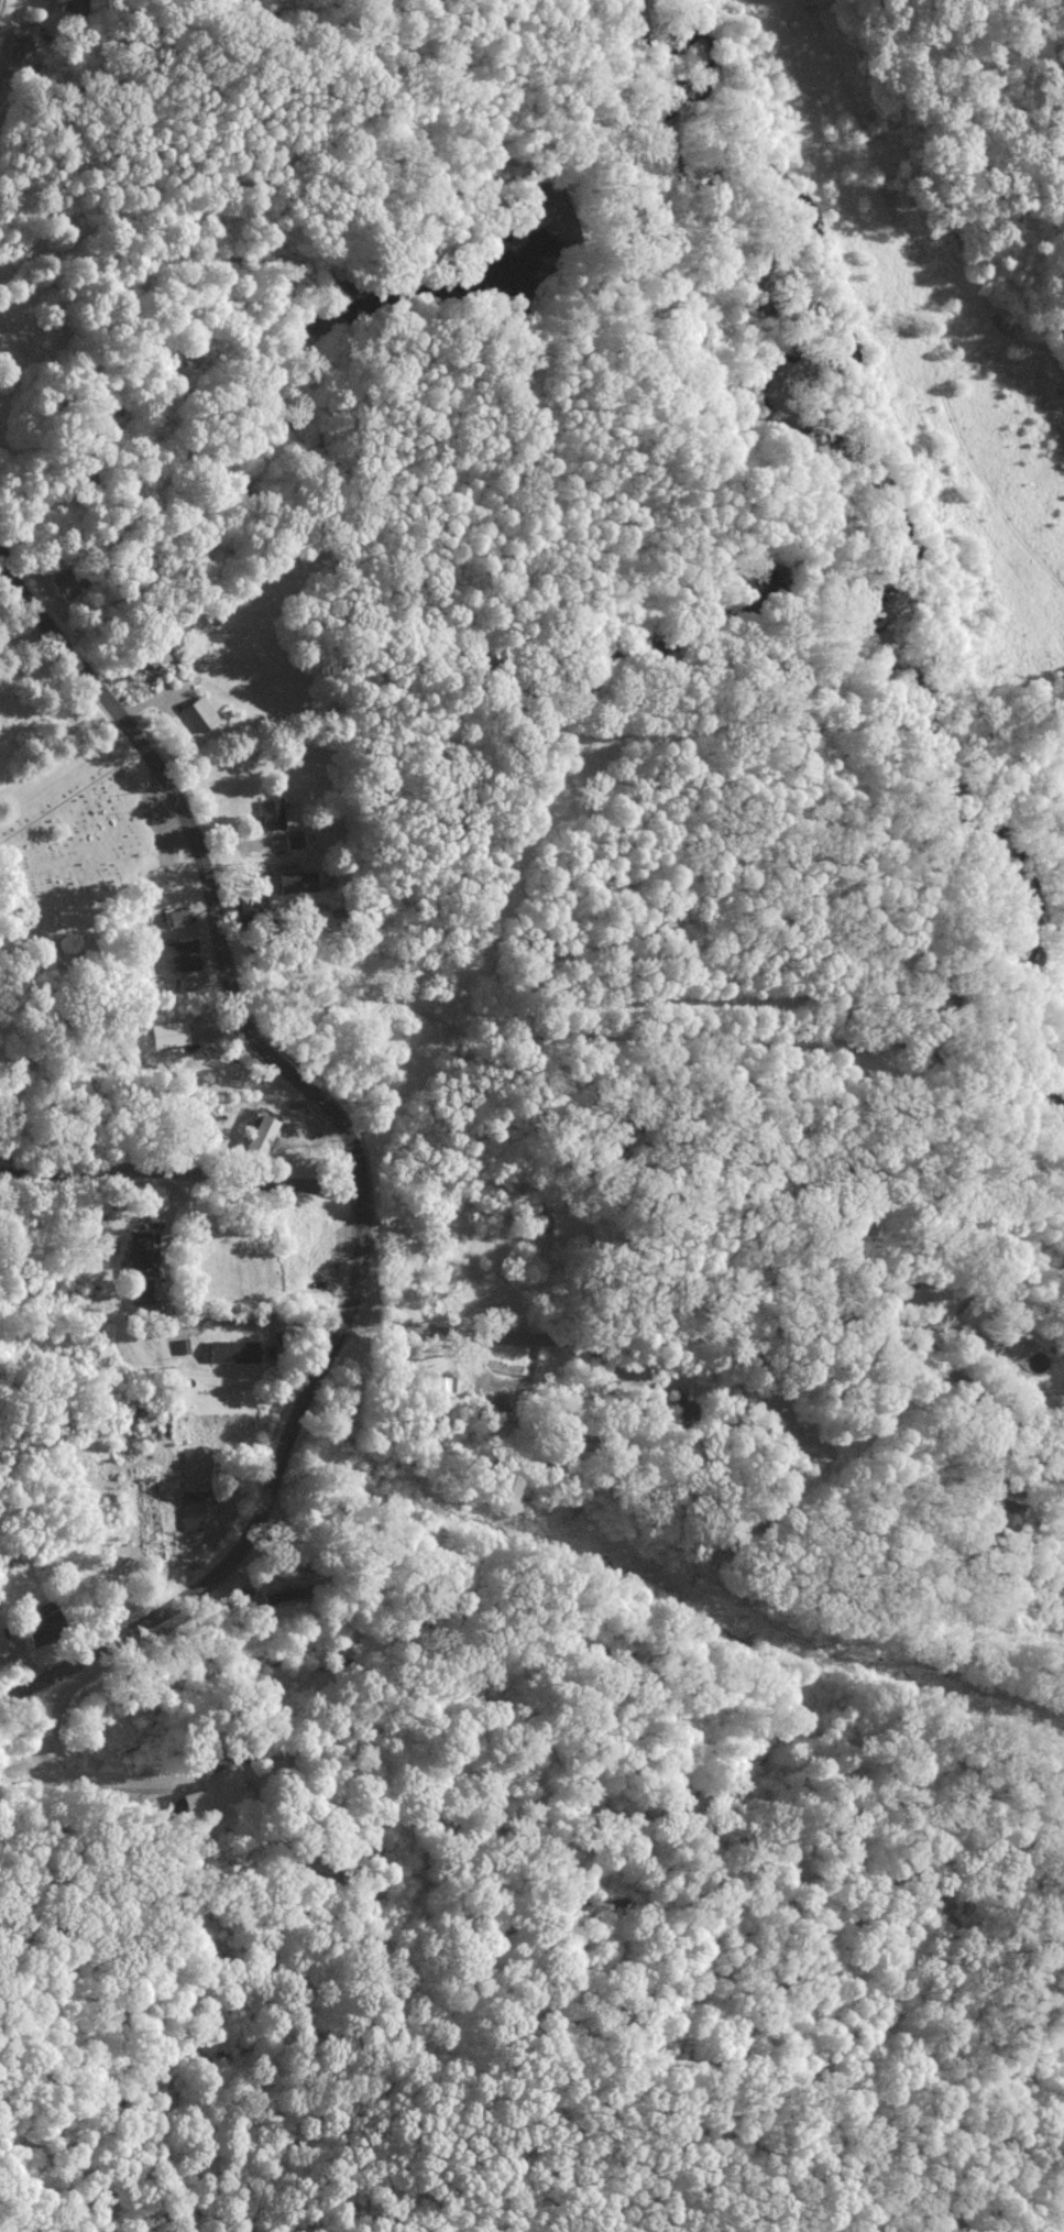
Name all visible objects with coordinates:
building: (20, 52)
building: (65, 581)
road: (24, 641)
building: (154, 658)
building: (200, 713)
building: (272, 812)
building: (293, 838)
park: (91, 855)
road: (201, 858)
building: (300, 879)
building: (179, 916)
building: (184, 954)
road: (431, 966)
road: (552, 1031)
building: (172, 1032)
building: (264, 1133)
road: (180, 1182)
building: (140, 1256)
road: (733, 1327)
building: (234, 1349)
road: (265, 1501)
building: (197, 1507)
building: (288, 1598)
building: (46, 1621)
road: (63, 1763)
building: (193, 1799)

